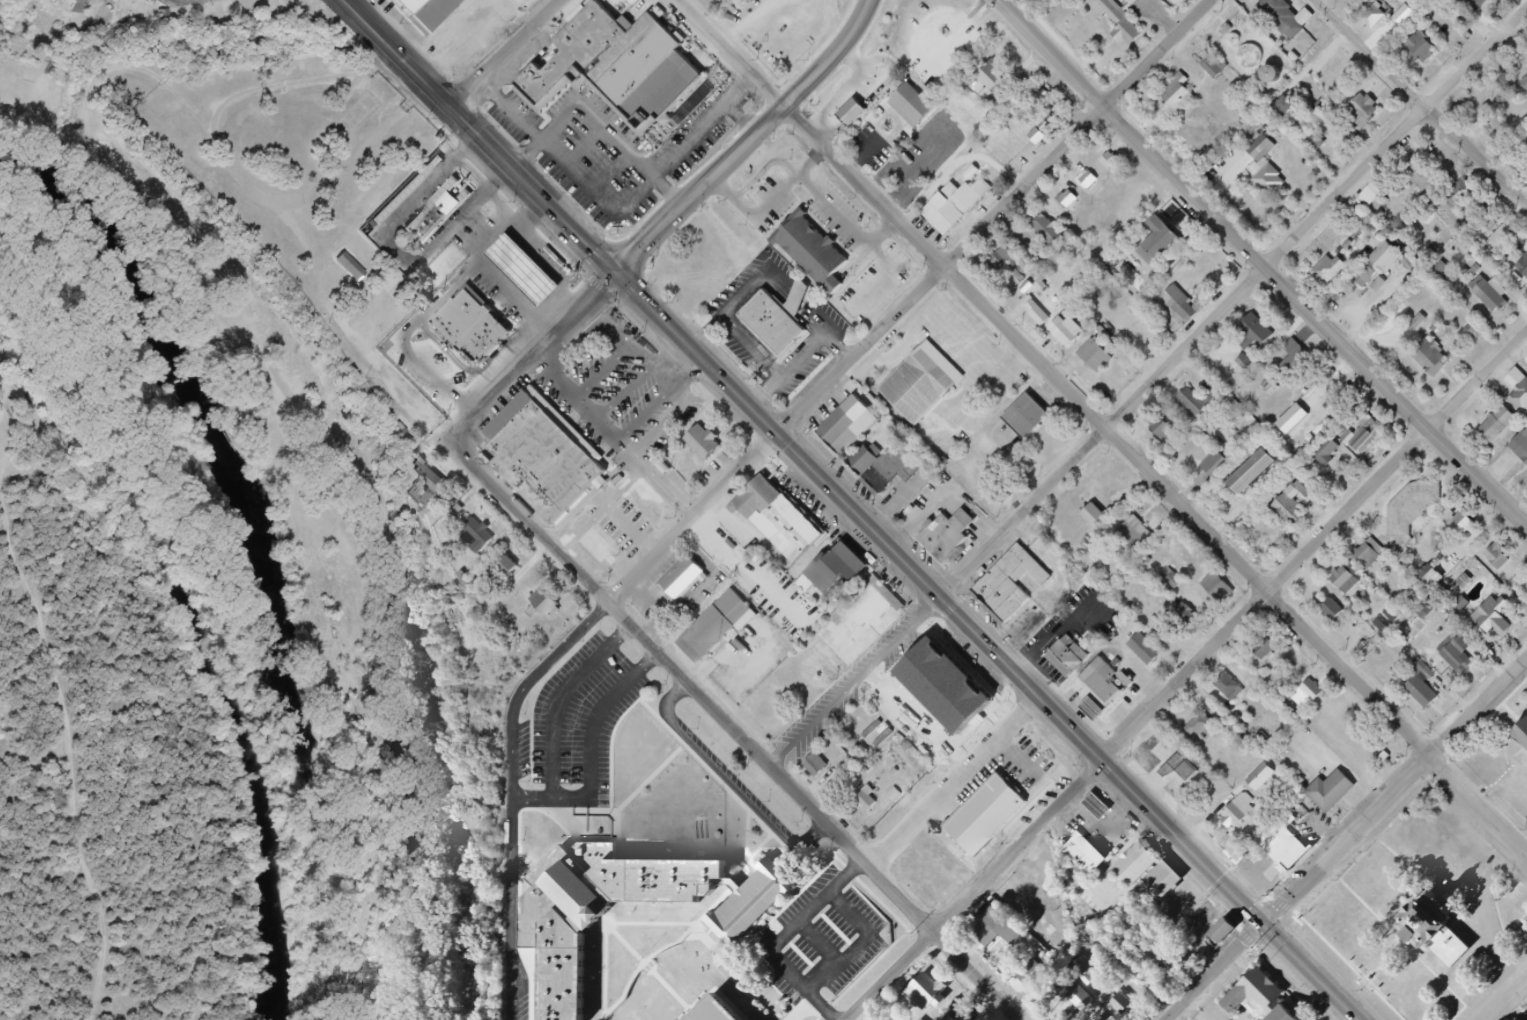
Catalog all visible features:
road: (198, 0)
building: (756, 0)
building: (1168, 0)
building: (527, 2)
building: (1177, 2)
building: (764, 3)
building: (72, 6)
building: (418, 7)
building: (1480, 9)
building: (444, 16)
building: (1380, 20)
building: (1127, 22)
building: (1288, 29)
building: (1235, 37)
building: (1242, 48)
road: (504, 52)
building: (1429, 57)
building: (1258, 65)
building: (613, 66)
building: (1222, 72)
building: (1000, 80)
building: (1506, 83)
building: (1524, 84)
building: (1184, 100)
road: (1422, 102)
building: (920, 107)
building: (1291, 111)
building: (852, 113)
building: (1369, 114)
building: (1058, 116)
road: (742, 122)
road: (599, 124)
building: (1504, 126)
road: (482, 138)
road: (754, 143)
parking lot: (620, 144)
road: (586, 149)
parking lot: (871, 149)
building: (1262, 150)
road: (862, 156)
building: (1110, 162)
road: (811, 163)
building: (1118, 163)
road: (788, 167)
building: (904, 170)
road: (232, 171)
road: (612, 174)
road: (474, 176)
building: (1426, 179)
building: (1087, 181)
road: (755, 182)
building: (1096, 182)
building: (406, 190)
building: (1277, 190)
building: (979, 195)
building: (1371, 196)
building: (1066, 199)
building: (1076, 199)
building: (1467, 200)
parking lot: (773, 202)
building: (438, 210)
road: (834, 212)
parking lot: (836, 214)
building: (952, 216)
road: (616, 217)
road: (756, 217)
building: (1052, 227)
building: (1508, 231)
road: (883, 234)
building: (1166, 239)
road: (397, 253)
building: (812, 253)
building: (539, 261)
road: (1260, 263)
building: (1013, 265)
building: (1378, 265)
building: (351, 268)
building: (1525, 273)
traffic signals: (616, 275)
building: (1334, 275)
road: (886, 276)
building: (1134, 276)
building: (533, 277)
gas station: (533, 277)
parking lot: (876, 284)
building: (516, 294)
building: (393, 301)
building: (1499, 301)
road: (741, 302)
road: (915, 305)
building: (1187, 305)
building: (1045, 312)
building: (1037, 314)
building: (776, 321)
building: (1105, 330)
building: (1075, 331)
building: (480, 332)
building: (1145, 332)
building: (1474, 333)
building: (1262, 339)
road: (755, 349)
road: (841, 352)
road: (810, 354)
road: (534, 355)
building: (1102, 357)
road: (649, 360)
building: (1300, 362)
building: (1439, 363)
building: (1246, 364)
road: (605, 371)
building: (921, 384)
road: (1148, 390)
road: (625, 393)
parking lot: (622, 394)
building: (1347, 399)
building: (1523, 404)
building: (1208, 406)
road: (647, 415)
building: (1025, 416)
road: (1101, 427)
building: (837, 428)
building: (1504, 431)
building: (1173, 435)
building: (404, 436)
building: (1368, 438)
road: (615, 440)
building: (704, 442)
building: (1523, 454)
building: (539, 455)
building: (1326, 456)
building: (871, 463)
building: (1216, 466)
building: (1252, 472)
building: (895, 474)
building: (1260, 479)
building: (438, 489)
building: (767, 503)
building: (1286, 503)
building: (1419, 513)
building: (1304, 514)
building: (1103, 518)
river: (261, 529)
building: (1147, 532)
building: (1469, 534)
building: (947, 536)
building: (1137, 536)
building: (800, 537)
building: (486, 542)
building: (1506, 563)
building: (1375, 564)
building: (508, 566)
building: (515, 572)
building: (846, 573)
building: (1431, 577)
building: (1024, 584)
building: (1524, 585)
building: (1353, 587)
building: (1226, 590)
building: (553, 607)
building: (1332, 610)
building: (1424, 613)
building: (1192, 614)
building: (1393, 616)
building: (1342, 617)
building: (717, 623)
building: (1502, 625)
building: (864, 630)
parking lot: (760, 633)
road: (990, 645)
building: (1145, 650)
building: (1270, 650)
building: (1457, 654)
building: (1073, 655)
building: (1470, 665)
road: (1184, 680)
building: (942, 681)
building: (1102, 681)
building: (1237, 690)
building: (1427, 690)
building: (1315, 698)
building: (1093, 709)
building: (1118, 712)
road: (75, 722)
building: (1210, 725)
road: (735, 729)
parking lot: (584, 731)
building: (862, 734)
building: (1522, 735)
building: (851, 743)
building: (989, 745)
building: (1175, 760)
building: (825, 772)
building: (1263, 777)
road: (731, 780)
road: (959, 785)
road: (1503, 785)
road: (516, 793)
building: (1338, 795)
parking lot: (1514, 795)
road: (559, 799)
building: (1258, 800)
building: (873, 802)
building: (1106, 811)
gas station: (1106, 811)
building: (995, 821)
road: (1346, 843)
building: (1285, 844)
building: (1246, 851)
building: (1445, 853)
building: (1091, 856)
building: (1140, 865)
road: (1423, 876)
building: (1166, 887)
road: (1494, 916)
parking lot: (1496, 917)
traffic signals: (1264, 923)
parking lot: (831, 931)
building: (1005, 931)
building: (1226, 931)
building: (1437, 931)
building: (564, 933)
road: (783, 939)
road: (820, 942)
road: (860, 942)
road: (1408, 944)
road: (1393, 964)
building: (1184, 965)
building: (1092, 972)
building: (1030, 974)
building: (1258, 996)
building: (933, 997)
building: (1078, 997)
road: (1507, 1000)
building: (1088, 1003)
building: (1128, 1006)
building: (719, 1012)
building: (966, 1015)
building: (1107, 1018)
building: (1096, 1019)
building: (1517, 1019)

